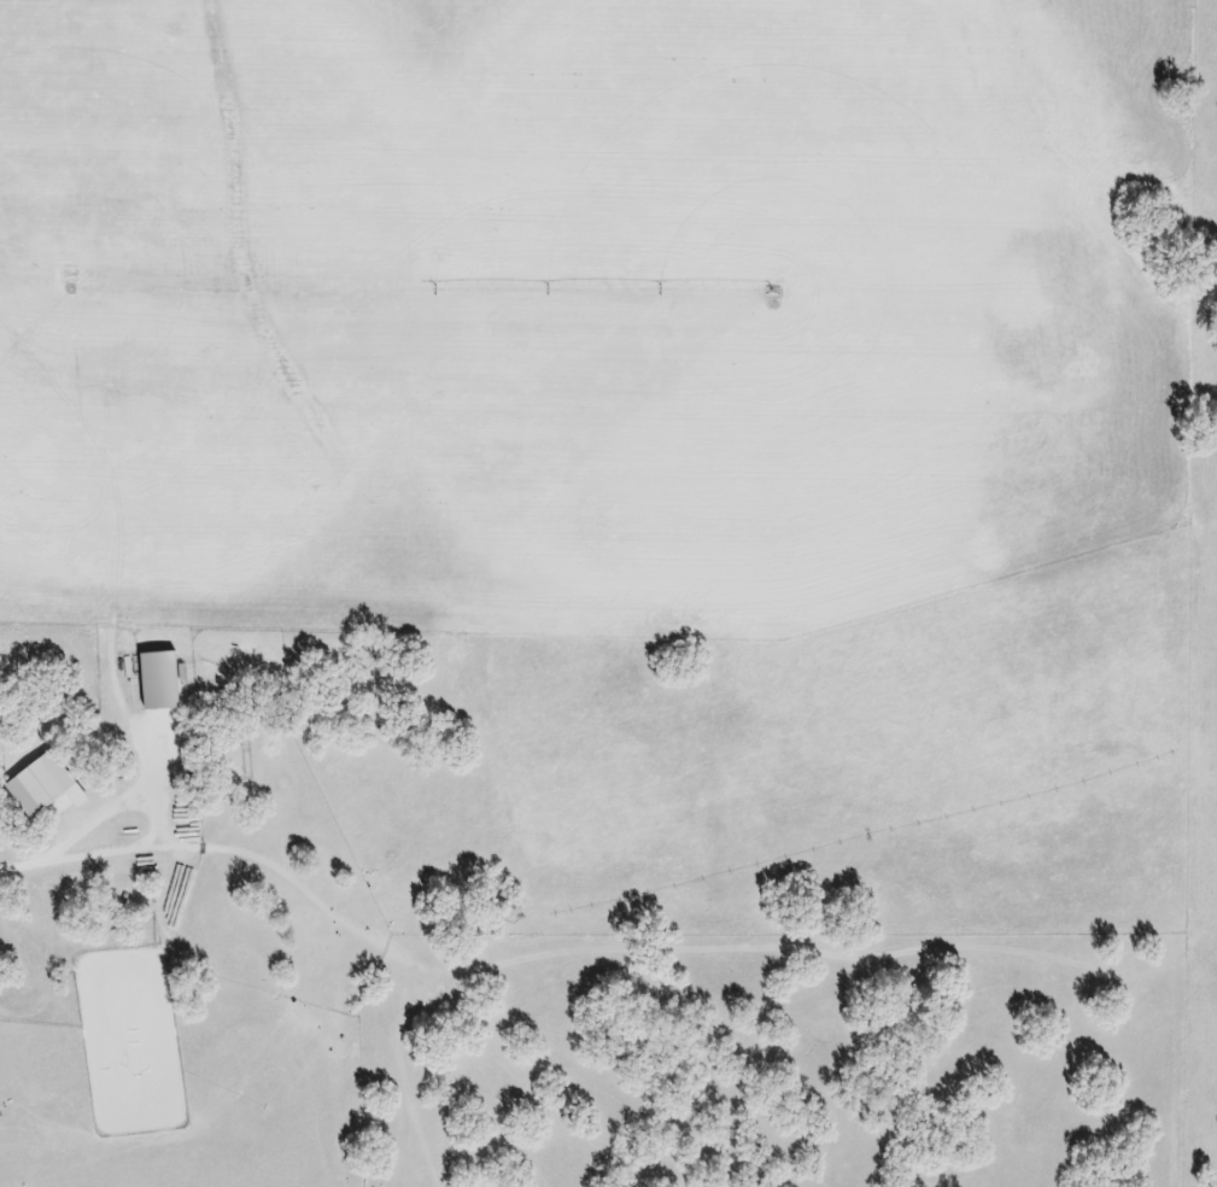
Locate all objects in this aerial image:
building: (159, 683)
building: (39, 788)
road: (82, 850)

